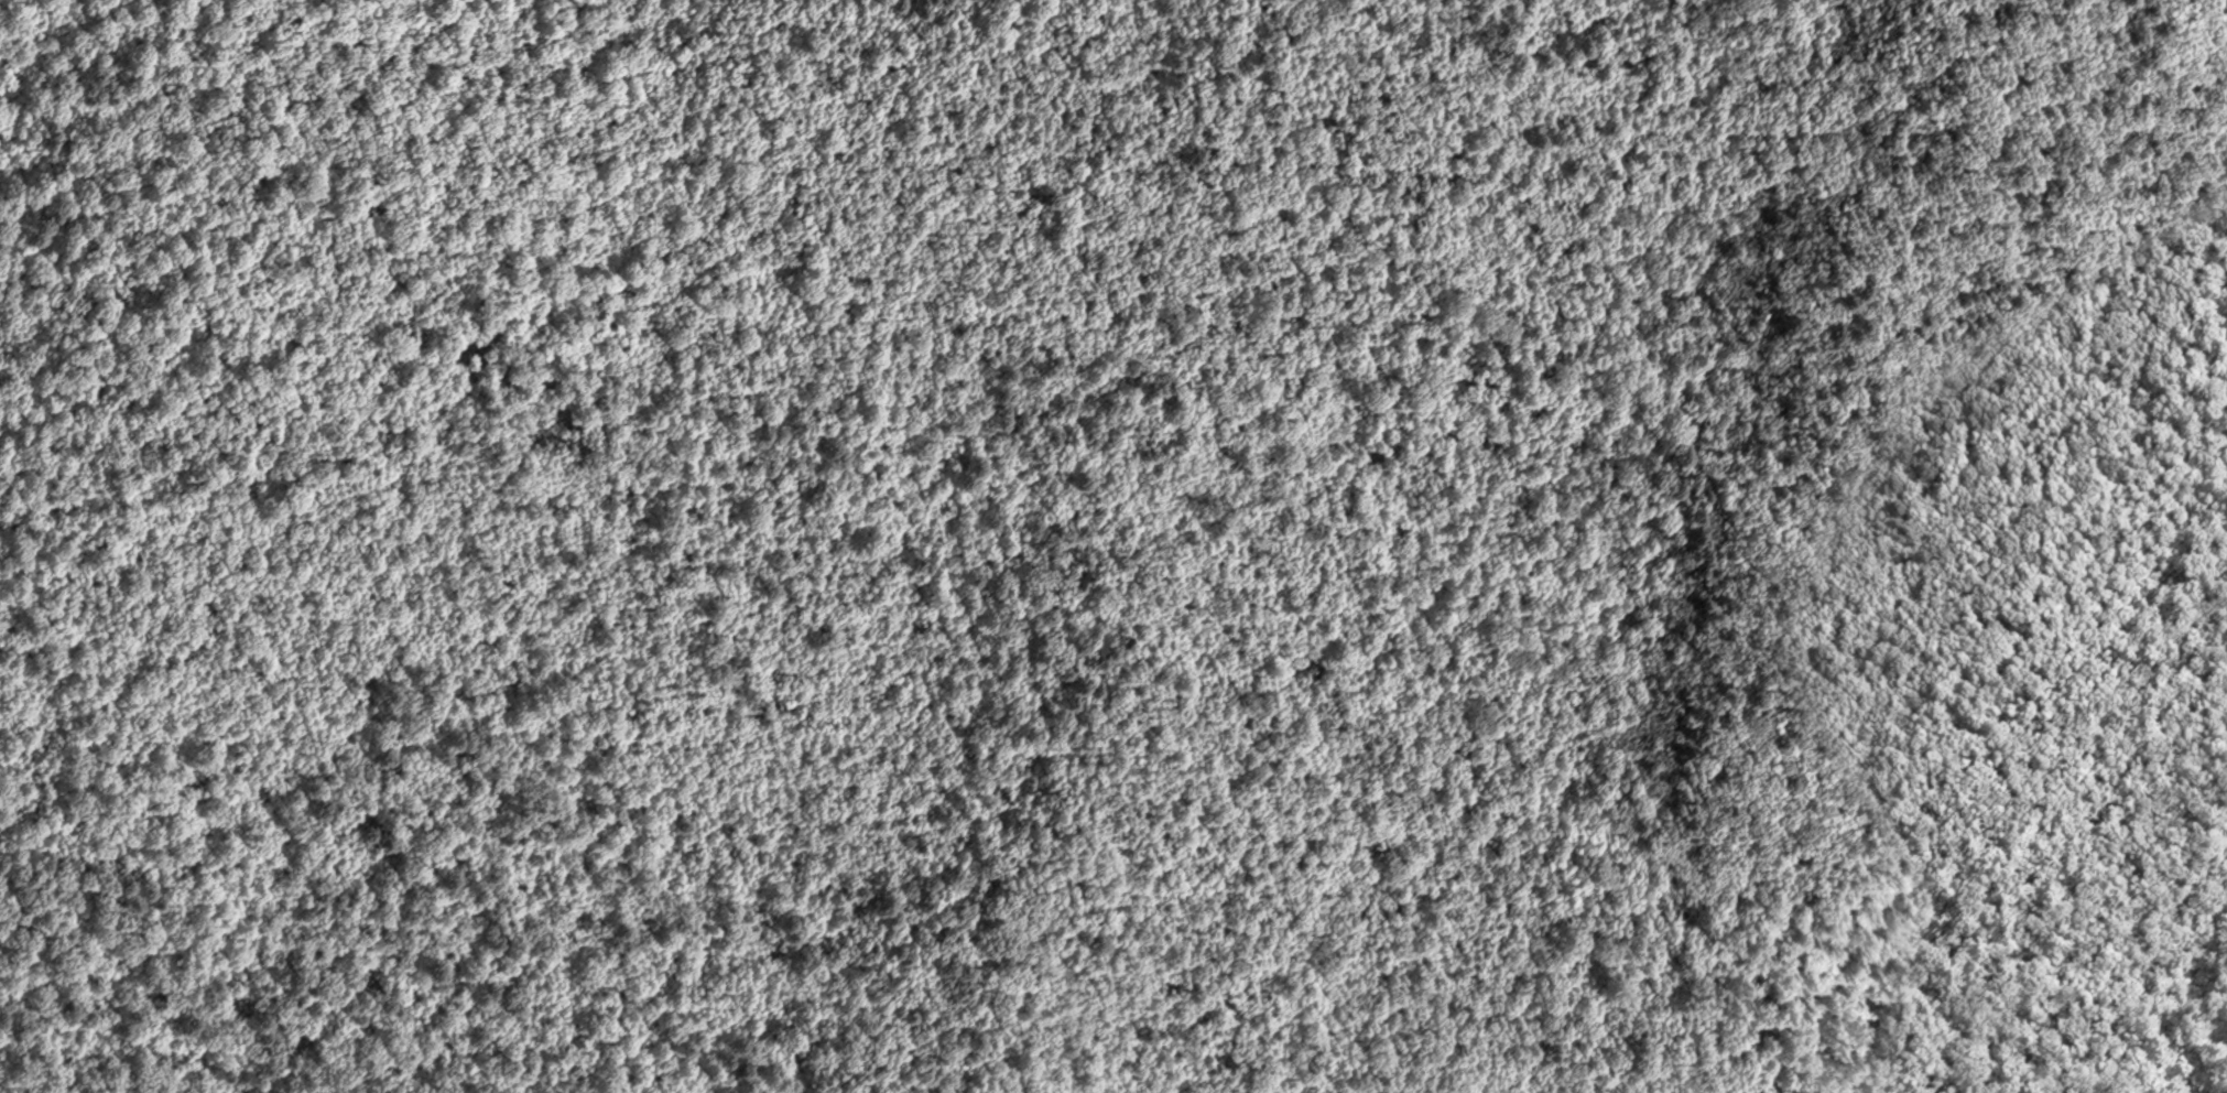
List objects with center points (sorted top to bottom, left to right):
road: (275, 383)
road: (586, 575)
road: (2093, 908)

